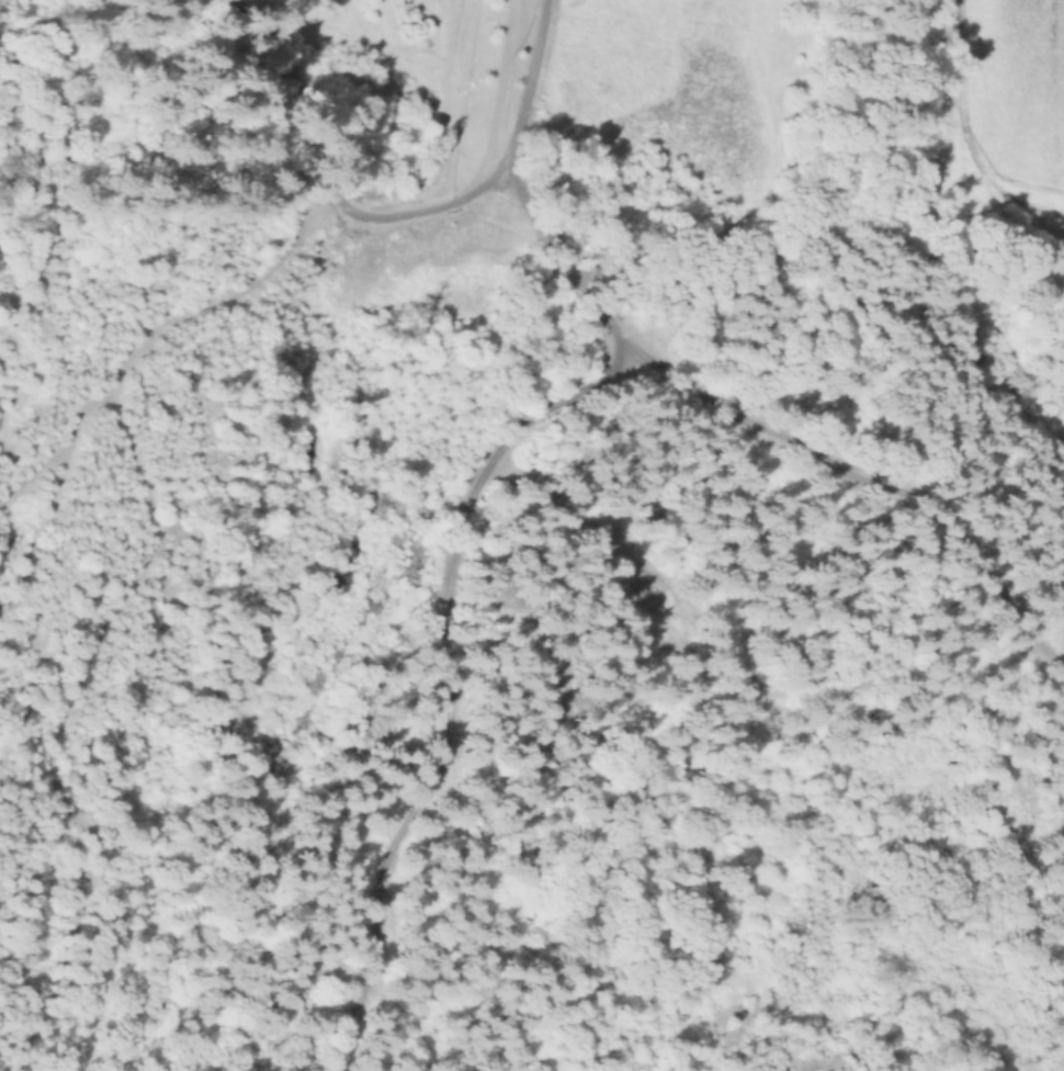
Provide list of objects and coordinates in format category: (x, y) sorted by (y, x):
road: (330, 181)
road: (692, 391)
road: (450, 686)

